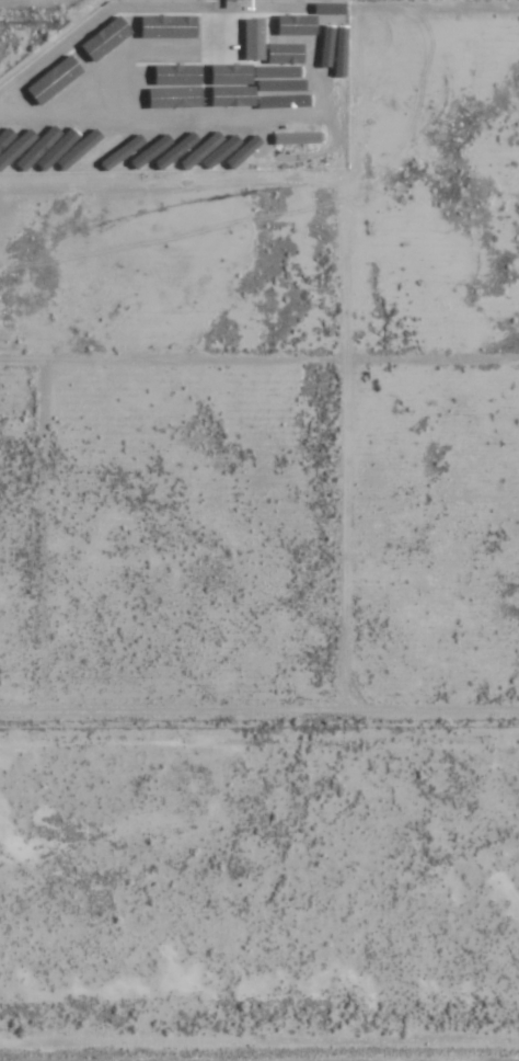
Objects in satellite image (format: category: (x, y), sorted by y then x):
building: (250, 37)
building: (293, 137)

